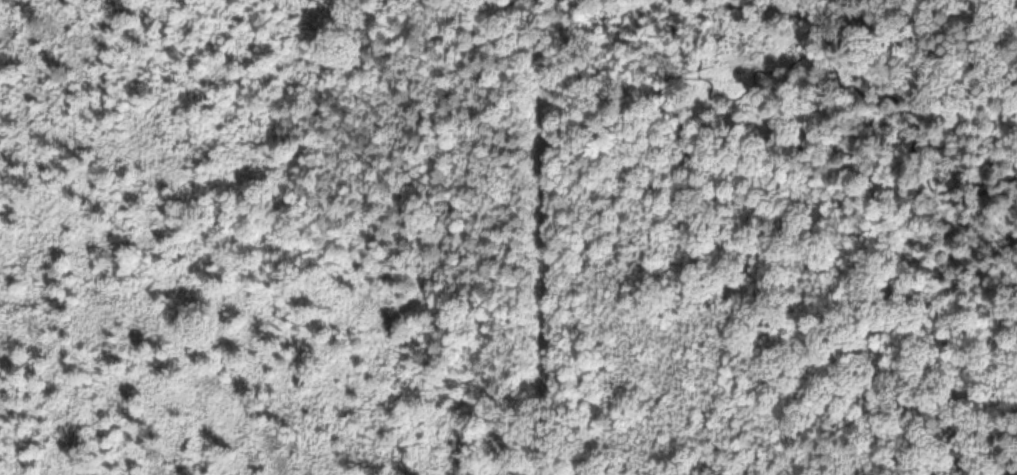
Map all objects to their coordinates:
road: (863, 22)
road: (926, 42)
road: (852, 72)
road: (540, 237)
road: (812, 284)

